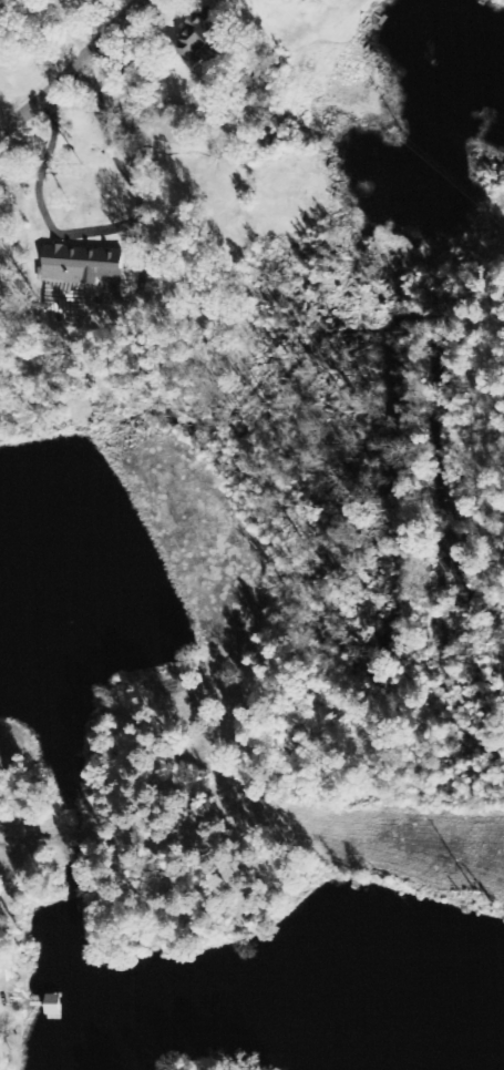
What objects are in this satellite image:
building: (196, 41)
road: (73, 69)
building: (76, 276)

